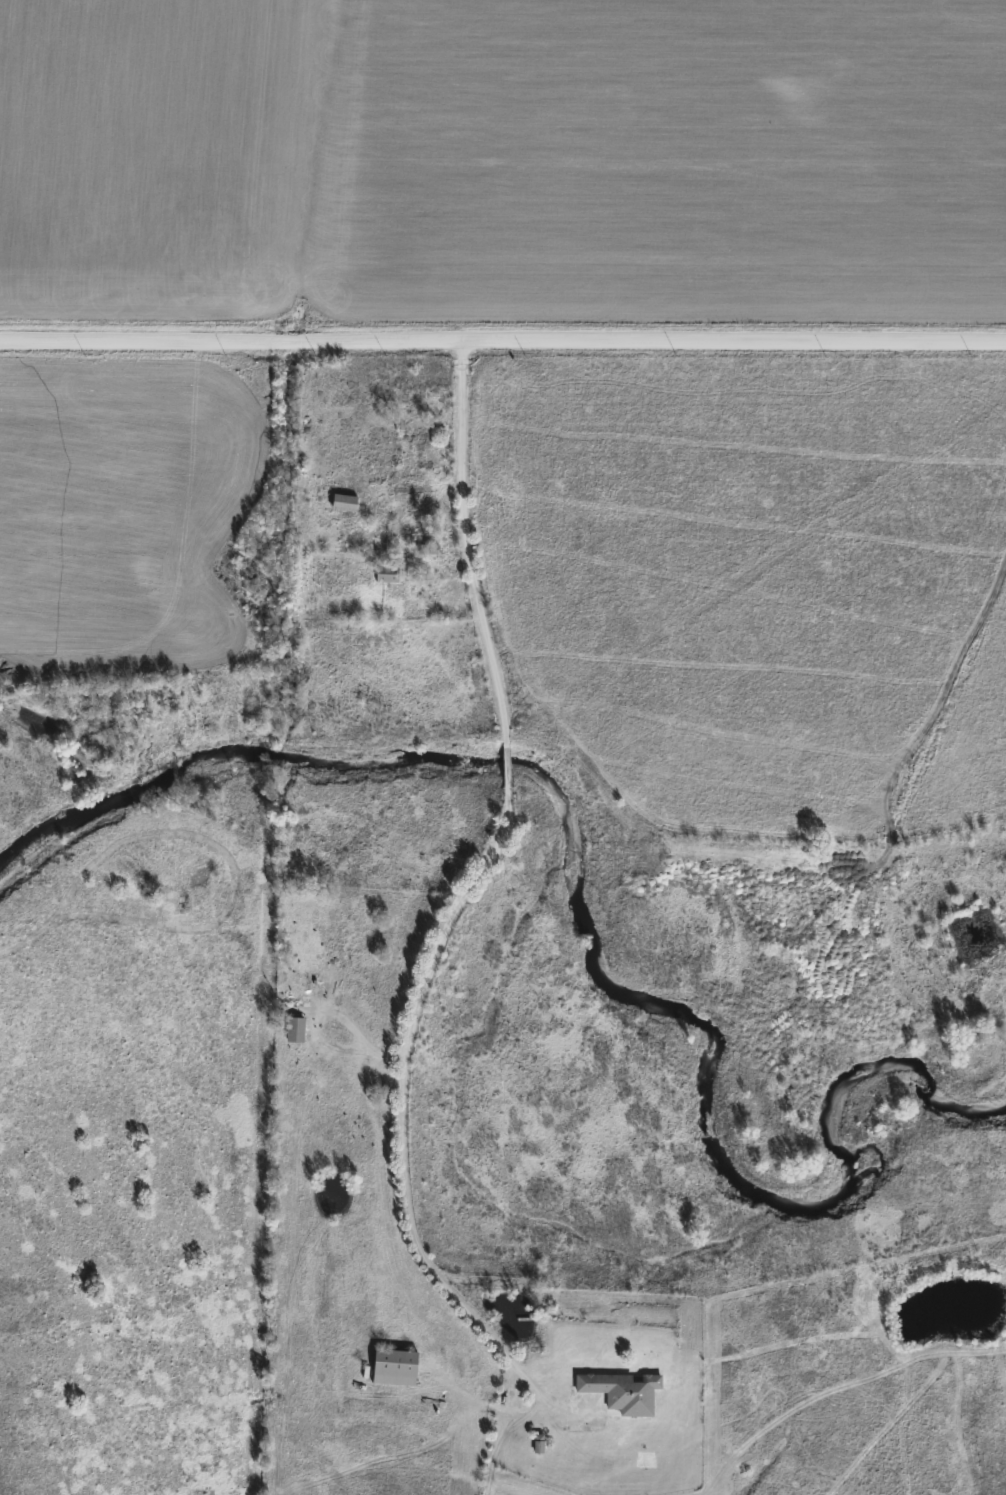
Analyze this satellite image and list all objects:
road: (503, 342)
building: (344, 502)
road: (465, 545)
building: (386, 575)
road: (506, 765)
building: (310, 992)
road: (346, 1022)
building: (295, 1030)
road: (401, 1078)
building: (394, 1367)
building: (622, 1392)
road: (543, 1400)
road: (482, 1402)

